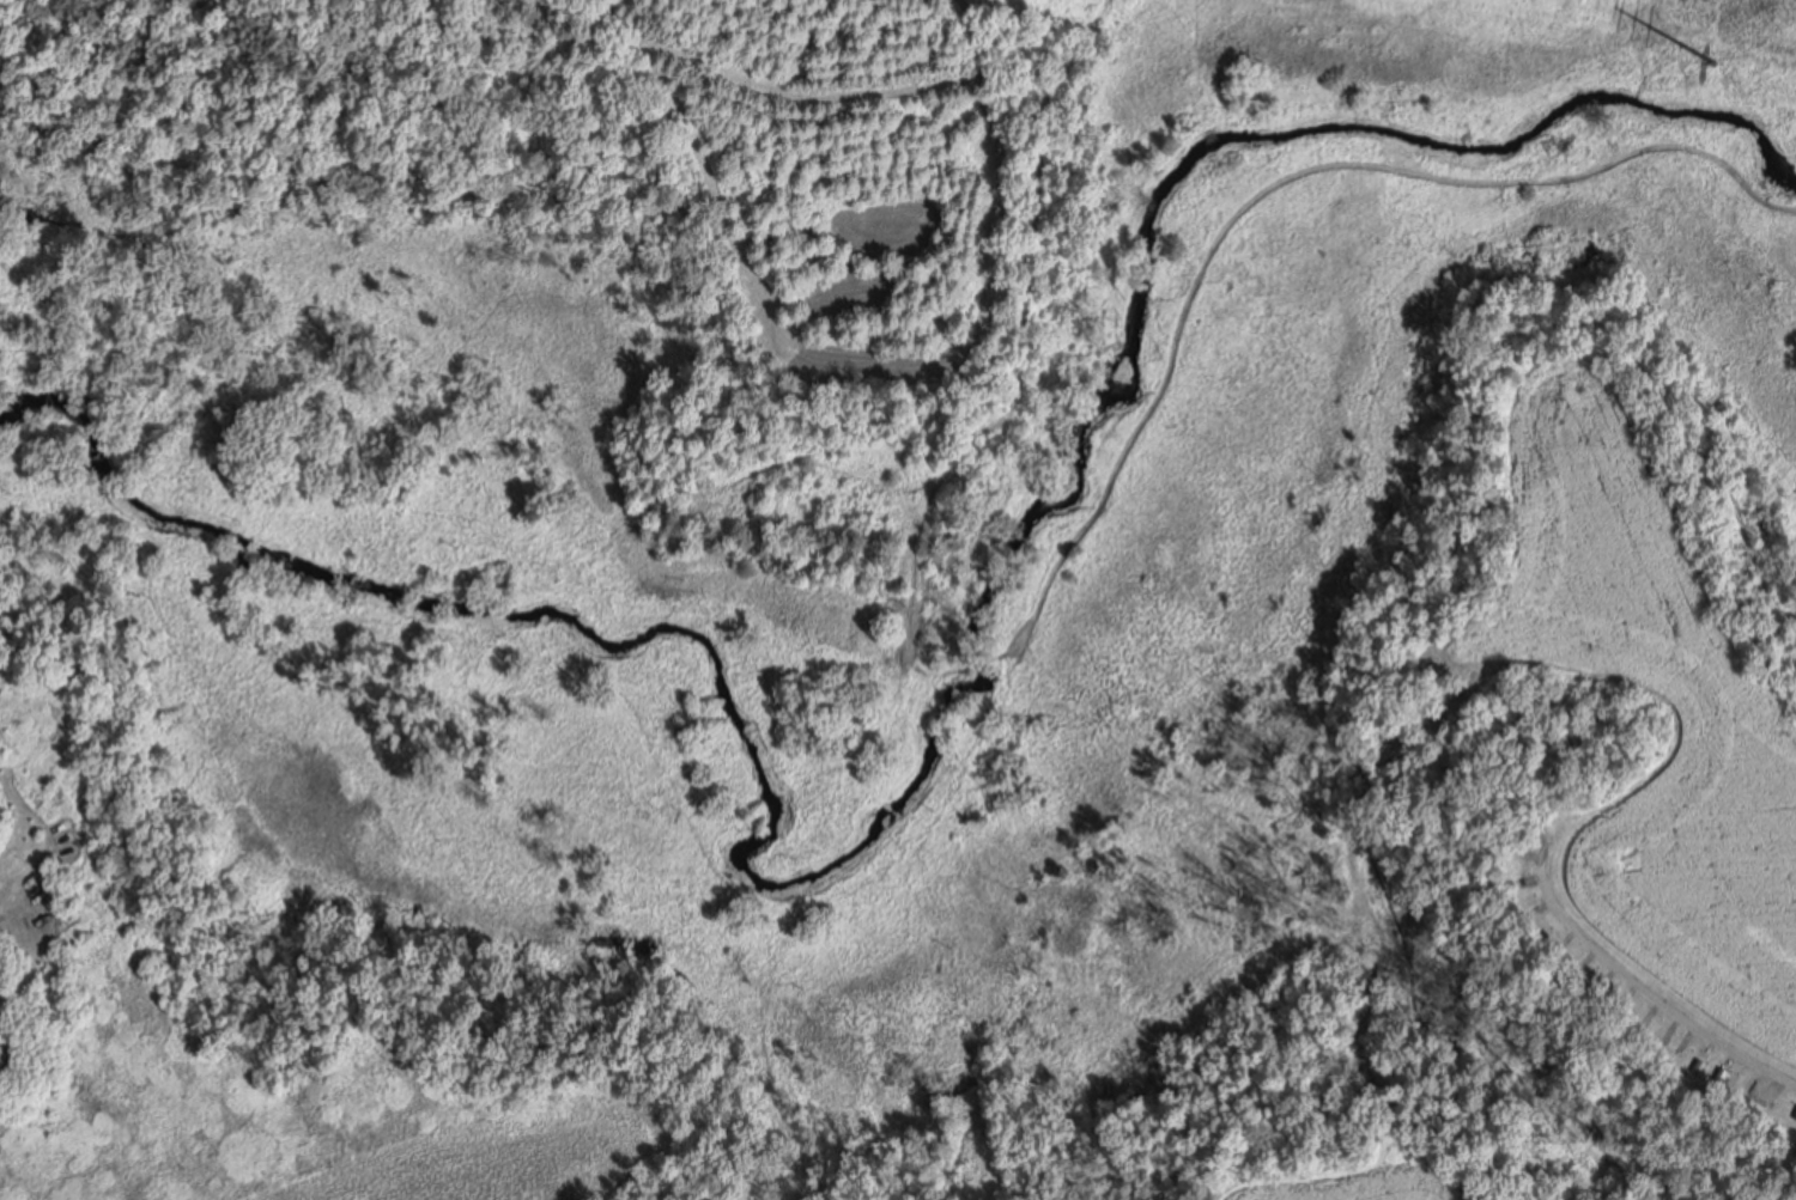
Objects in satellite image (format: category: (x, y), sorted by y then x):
power tower: (1713, 55)
road: (1645, 994)

